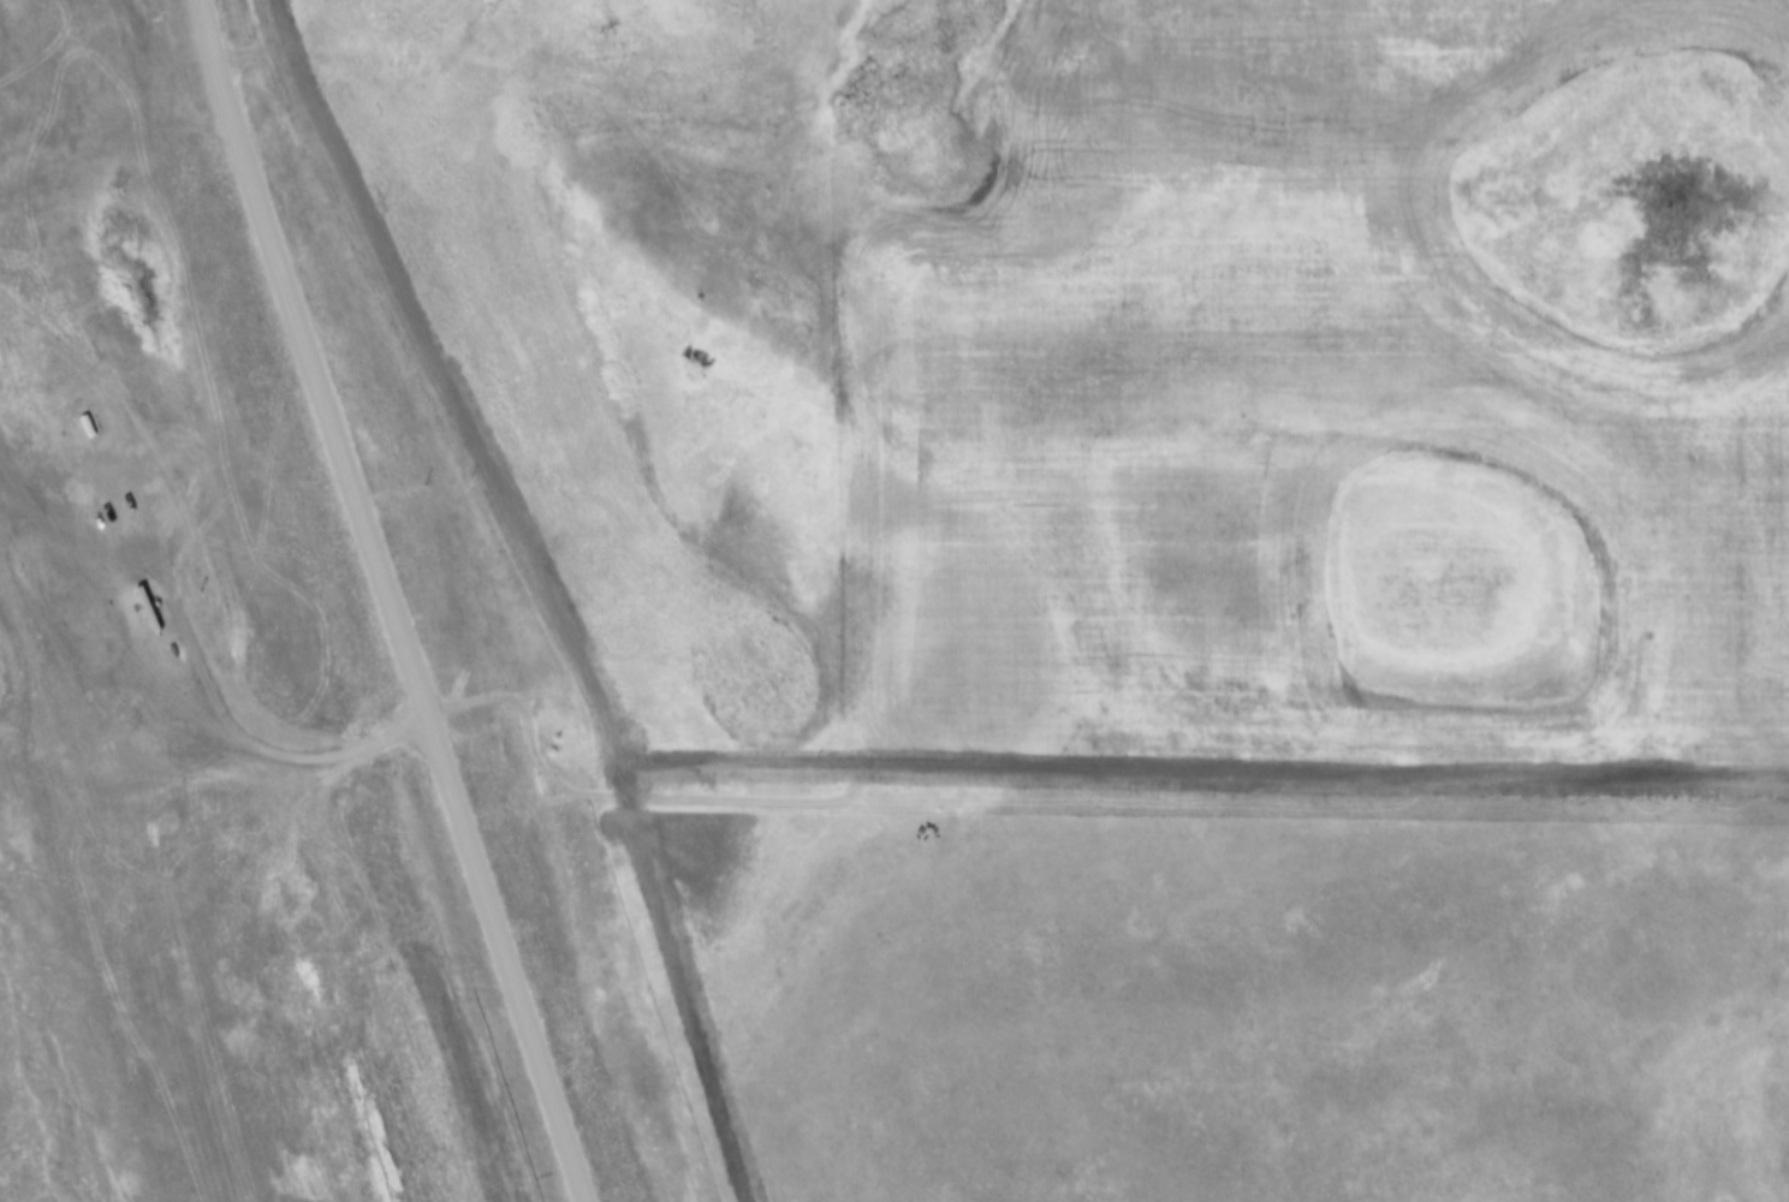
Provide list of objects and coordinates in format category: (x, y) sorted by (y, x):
road: (398, 601)
road: (974, 817)

